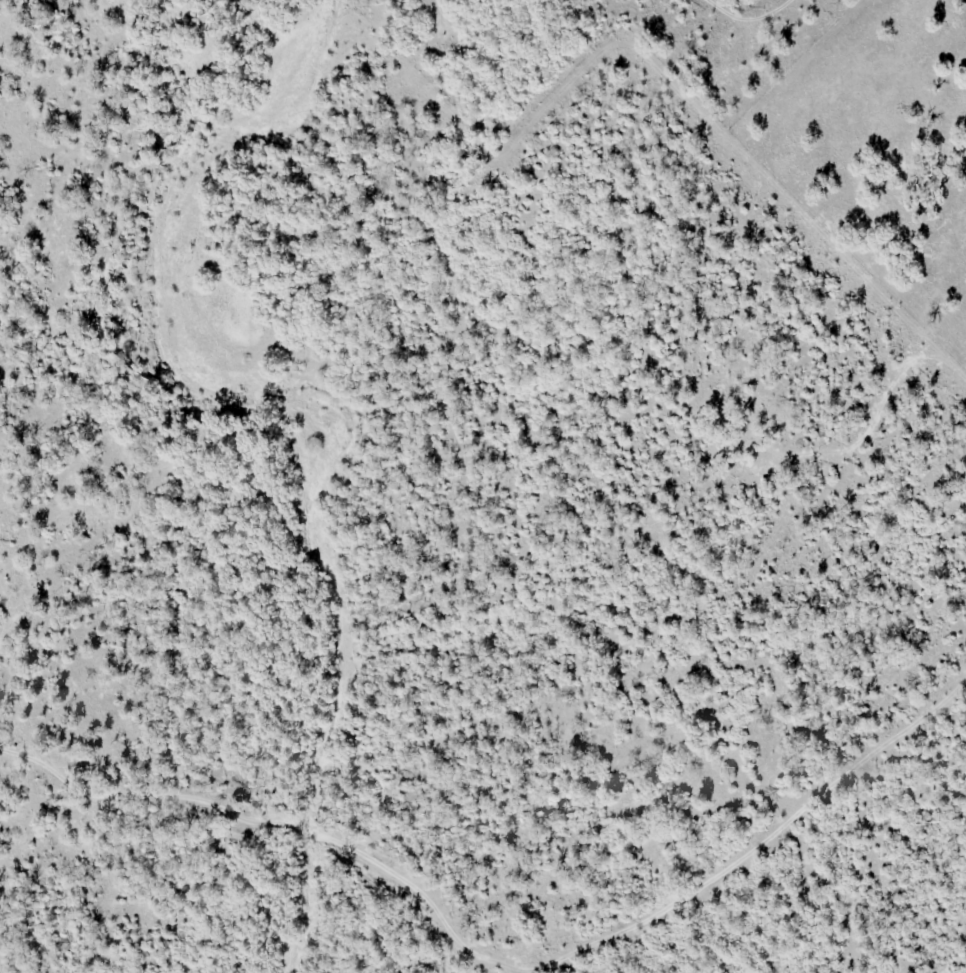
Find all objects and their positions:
road: (265, 820)

